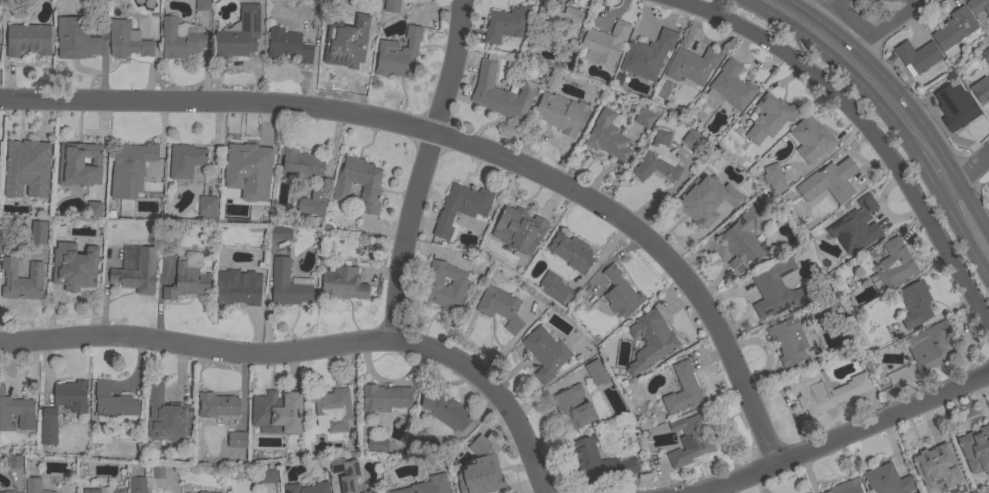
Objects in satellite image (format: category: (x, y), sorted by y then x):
building: (202, 5)
building: (391, 6)
building: (978, 6)
road: (851, 17)
road: (897, 17)
building: (506, 24)
building: (557, 24)
building: (953, 31)
building: (238, 34)
building: (180, 38)
building: (76, 39)
building: (28, 40)
building: (127, 41)
road: (862, 41)
building: (603, 44)
building: (287, 45)
building: (341, 51)
building: (398, 54)
building: (647, 55)
building: (985, 55)
building: (917, 56)
road: (839, 64)
building: (692, 65)
road: (884, 77)
building: (552, 78)
building: (730, 86)
building: (981, 89)
building: (500, 93)
building: (958, 106)
building: (560, 113)
building: (770, 117)
building: (643, 119)
road: (865, 127)
building: (607, 137)
building: (811, 139)
building: (692, 140)
road: (462, 146)
building: (657, 159)
building: (31, 161)
building: (185, 161)
building: (78, 162)
building: (301, 164)
building: (249, 166)
building: (130, 168)
road: (421, 170)
road: (925, 172)
road: (964, 172)
building: (773, 176)
building: (829, 181)
building: (359, 183)
building: (313, 202)
building: (703, 204)
building: (207, 207)
building: (461, 207)
road: (972, 209)
building: (93, 210)
building: (516, 221)
building: (855, 227)
building: (38, 232)
building: (280, 233)
road: (963, 237)
building: (744, 239)
building: (571, 252)
building: (892, 266)
building: (74, 270)
building: (137, 273)
building: (21, 280)
building: (186, 282)
building: (343, 283)
building: (288, 284)
building: (457, 286)
building: (238, 288)
building: (554, 288)
building: (776, 290)
building: (620, 293)
building: (499, 301)
building: (914, 304)
building: (824, 308)
building: (846, 312)
building: (650, 341)
building: (788, 341)
road: (311, 346)
building: (930, 346)
building: (545, 353)
building: (595, 372)
building: (682, 389)
building: (824, 390)
building: (384, 398)
building: (113, 401)
building: (217, 405)
building: (332, 407)
building: (573, 408)
building: (444, 410)
building: (17, 411)
building: (78, 411)
building: (277, 411)
building: (166, 417)
road: (839, 436)
building: (415, 438)
building: (690, 439)
building: (236, 440)
building: (376, 446)
building: (970, 446)
building: (14, 462)
building: (598, 462)
building: (931, 466)
building: (157, 471)
building: (481, 471)
building: (345, 473)
building: (266, 474)
building: (886, 480)
building: (137, 485)
building: (428, 485)
building: (34, 486)
building: (845, 487)
building: (306, 488)
building: (963, 490)
building: (90, 491)
building: (118, 491)
building: (8, 492)
building: (203, 492)
building: (363, 492)

